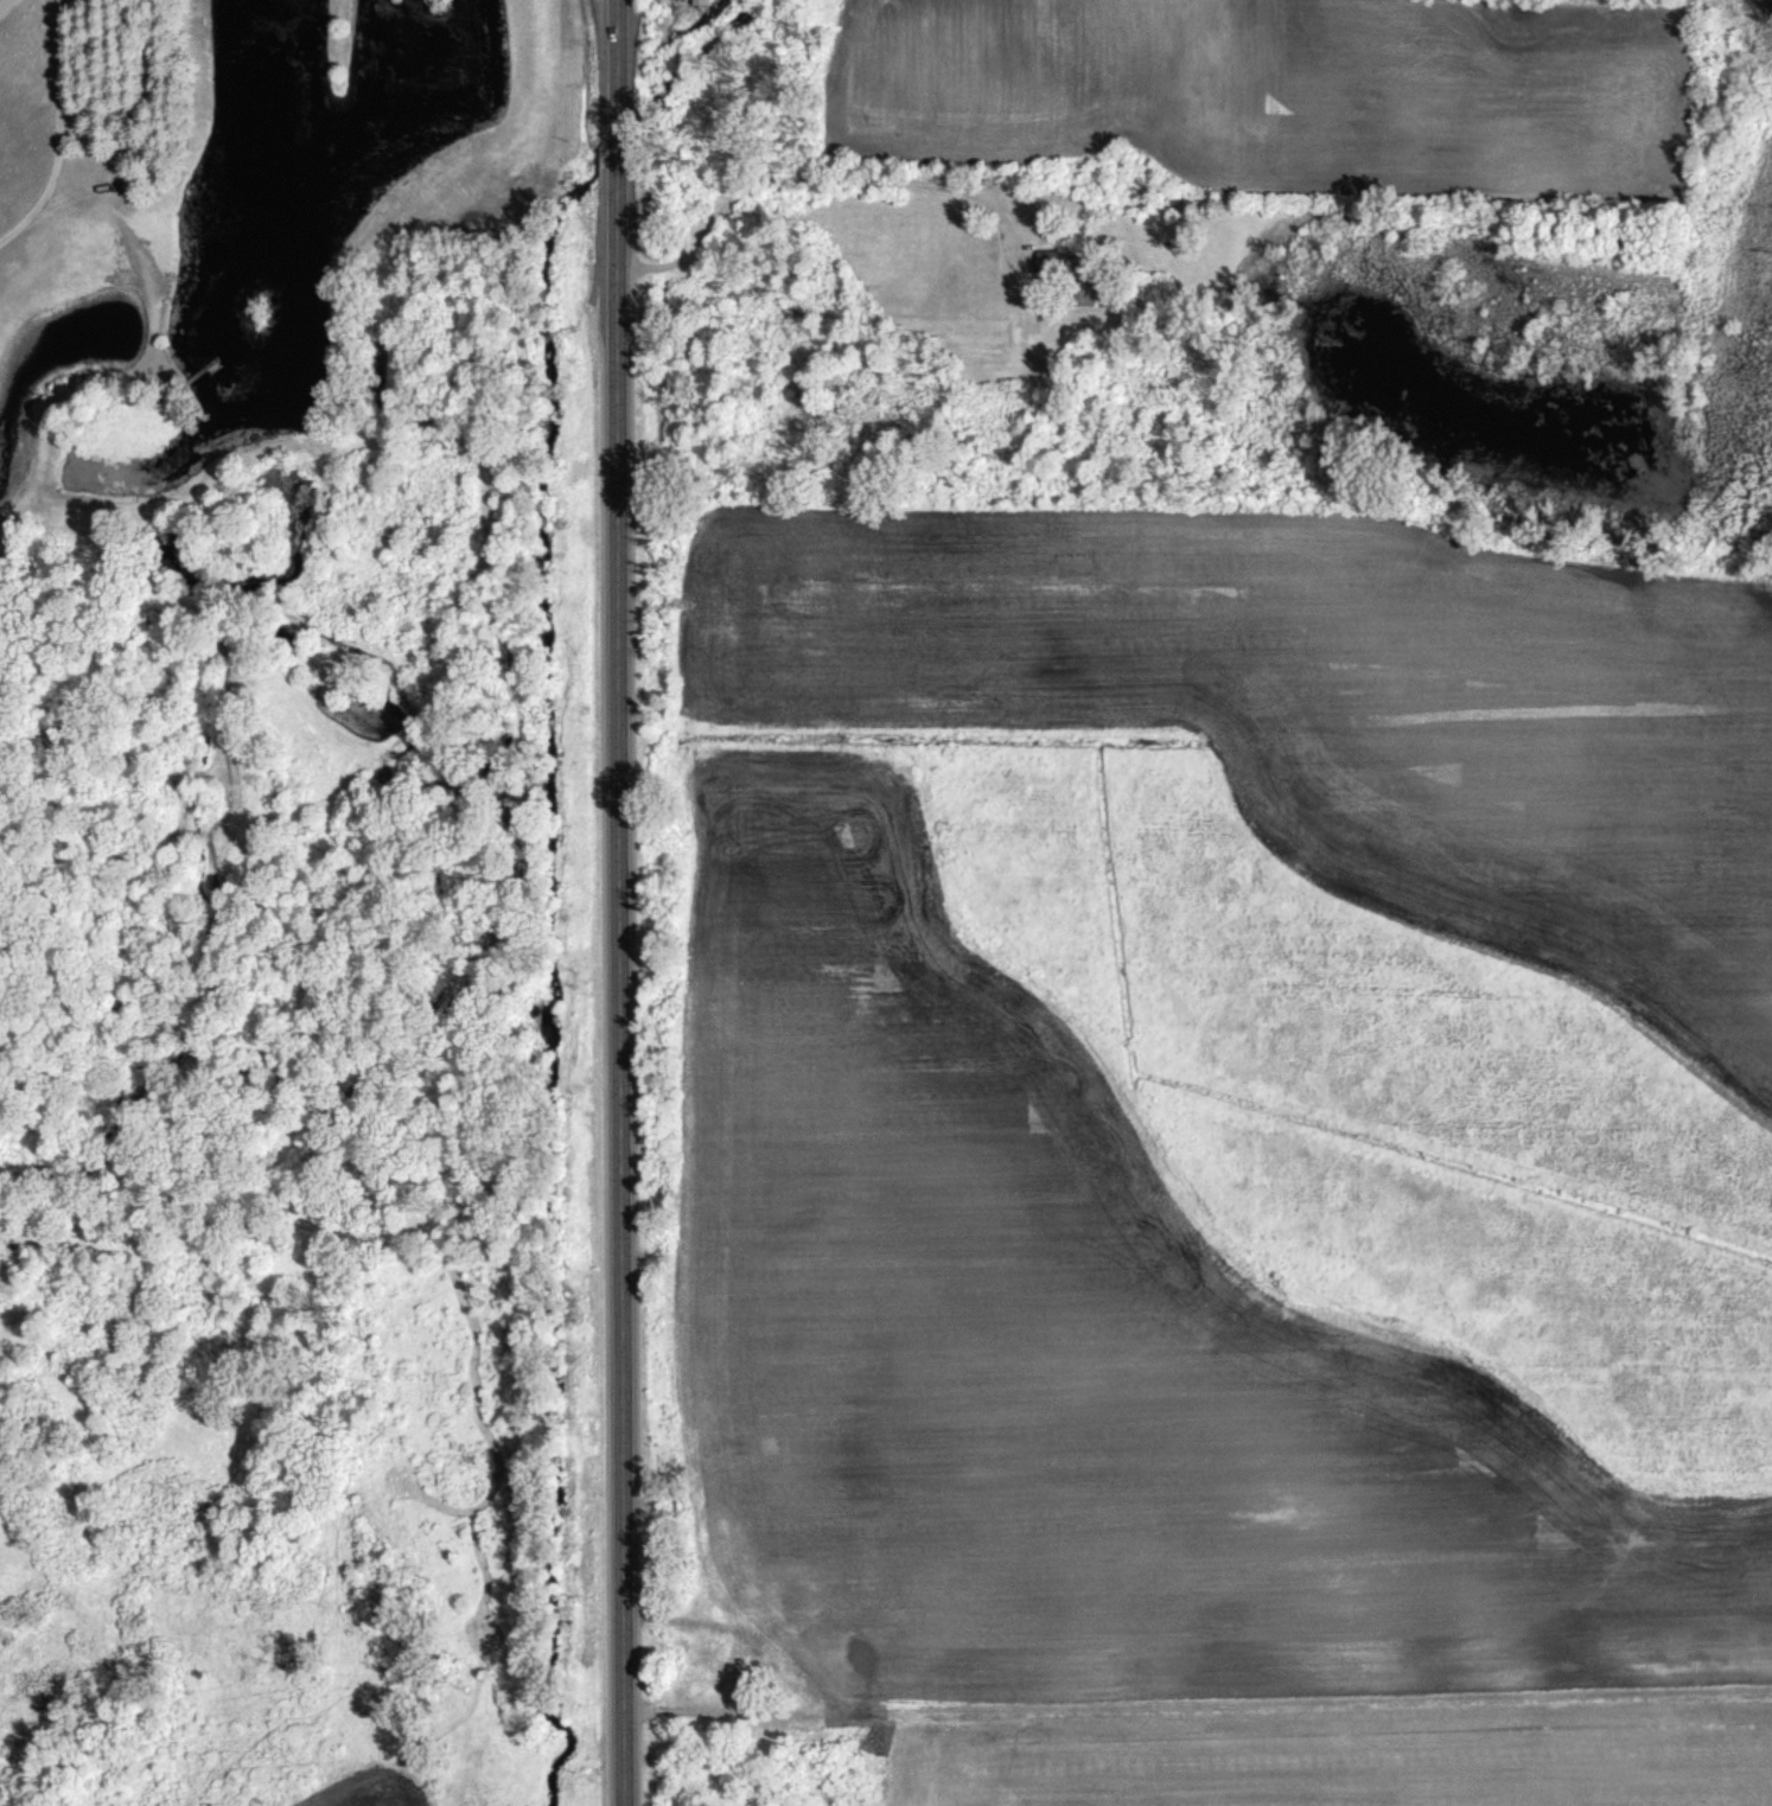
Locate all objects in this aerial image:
building: (696, 2)
road: (610, 51)
road: (611, 139)
road: (815, 176)
building: (1047, 259)
road: (616, 990)

